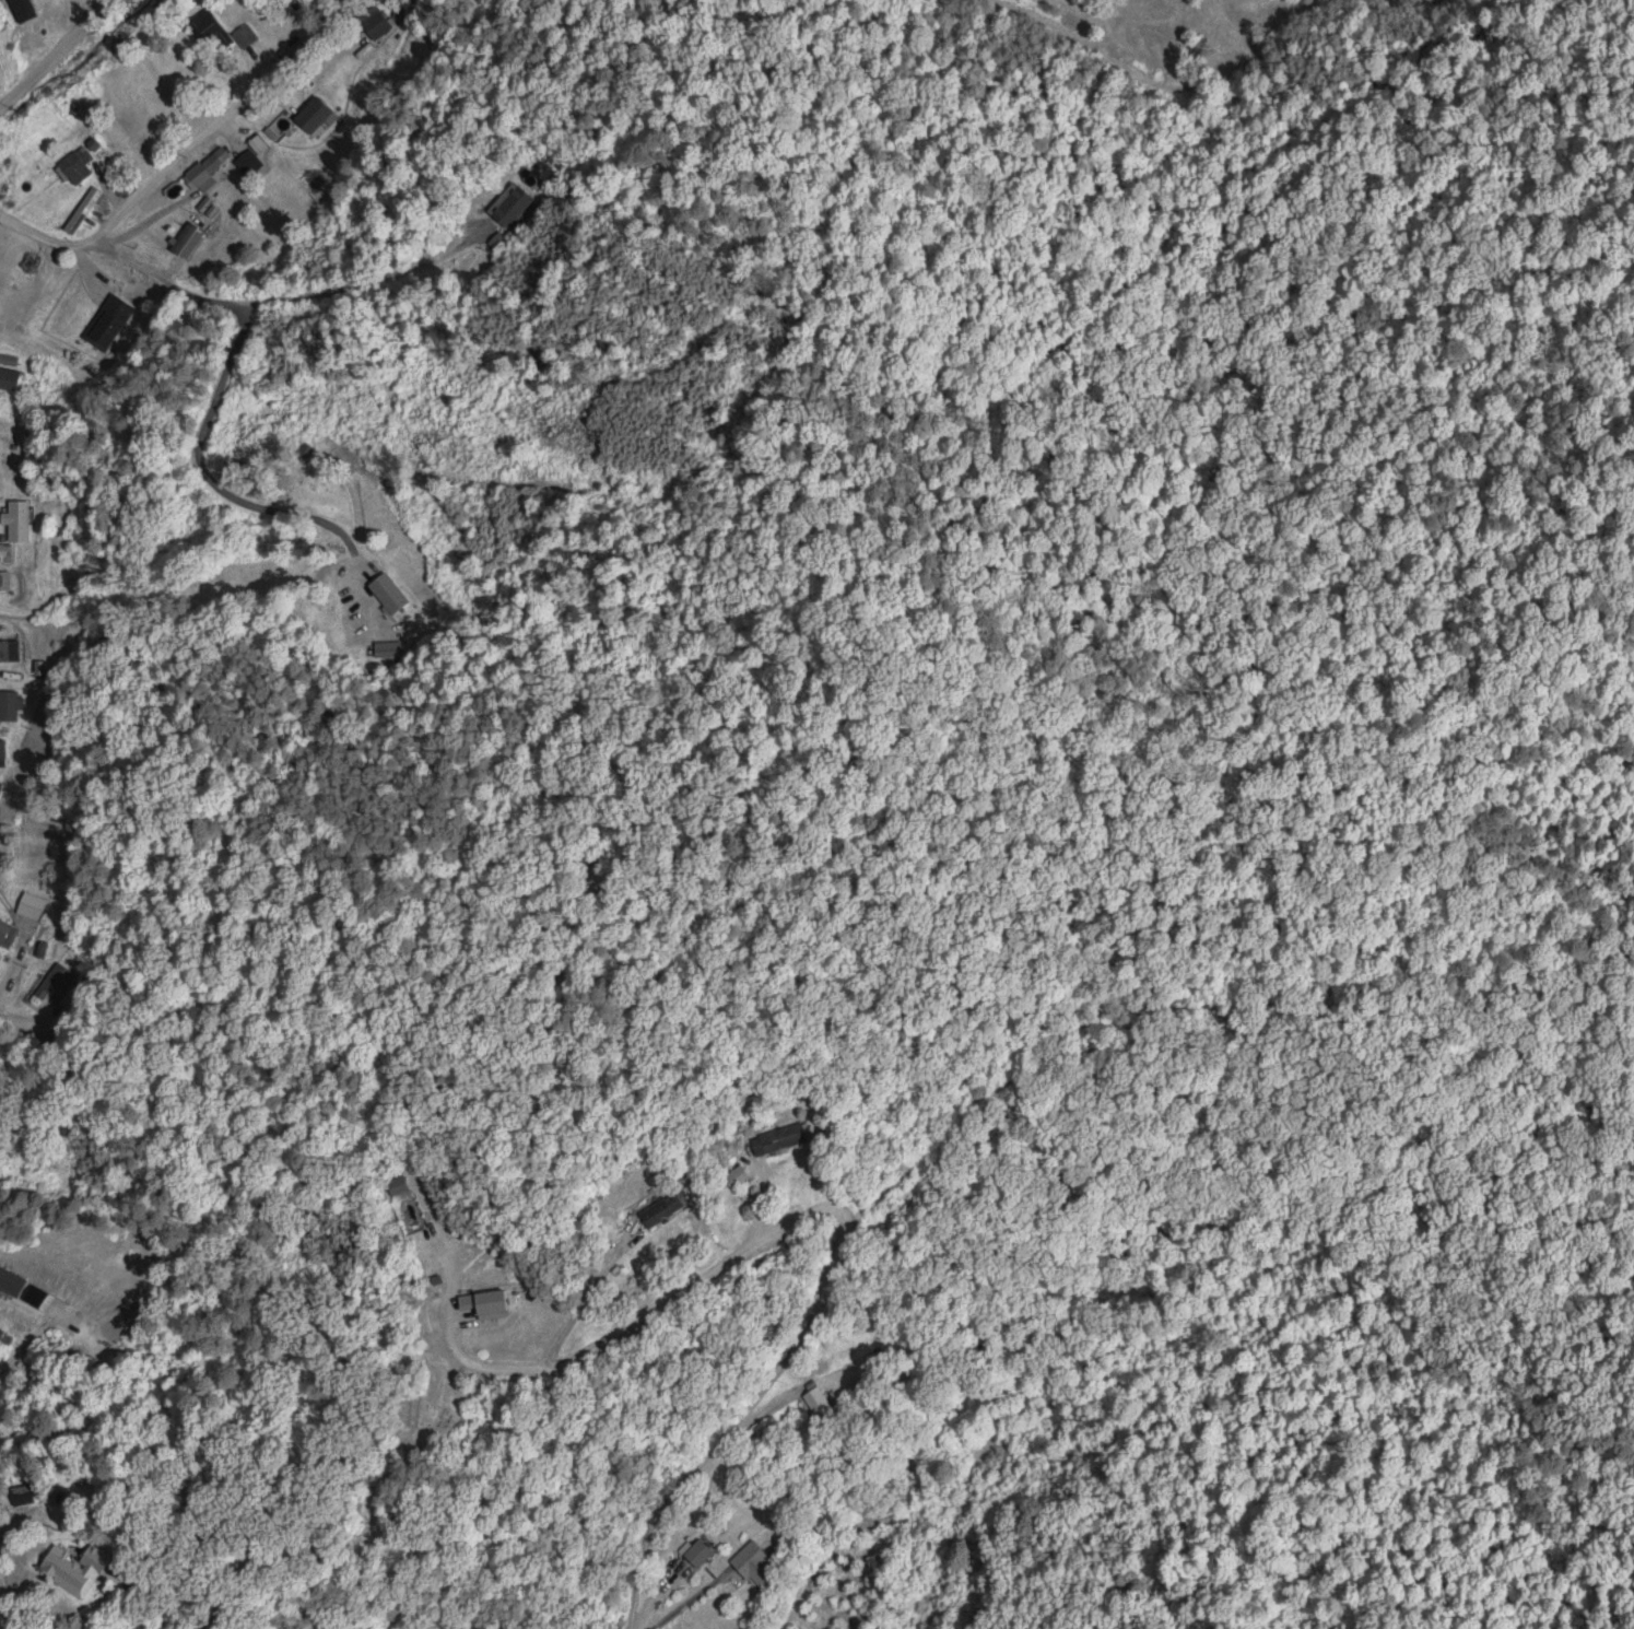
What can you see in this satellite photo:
road: (62, 50)

